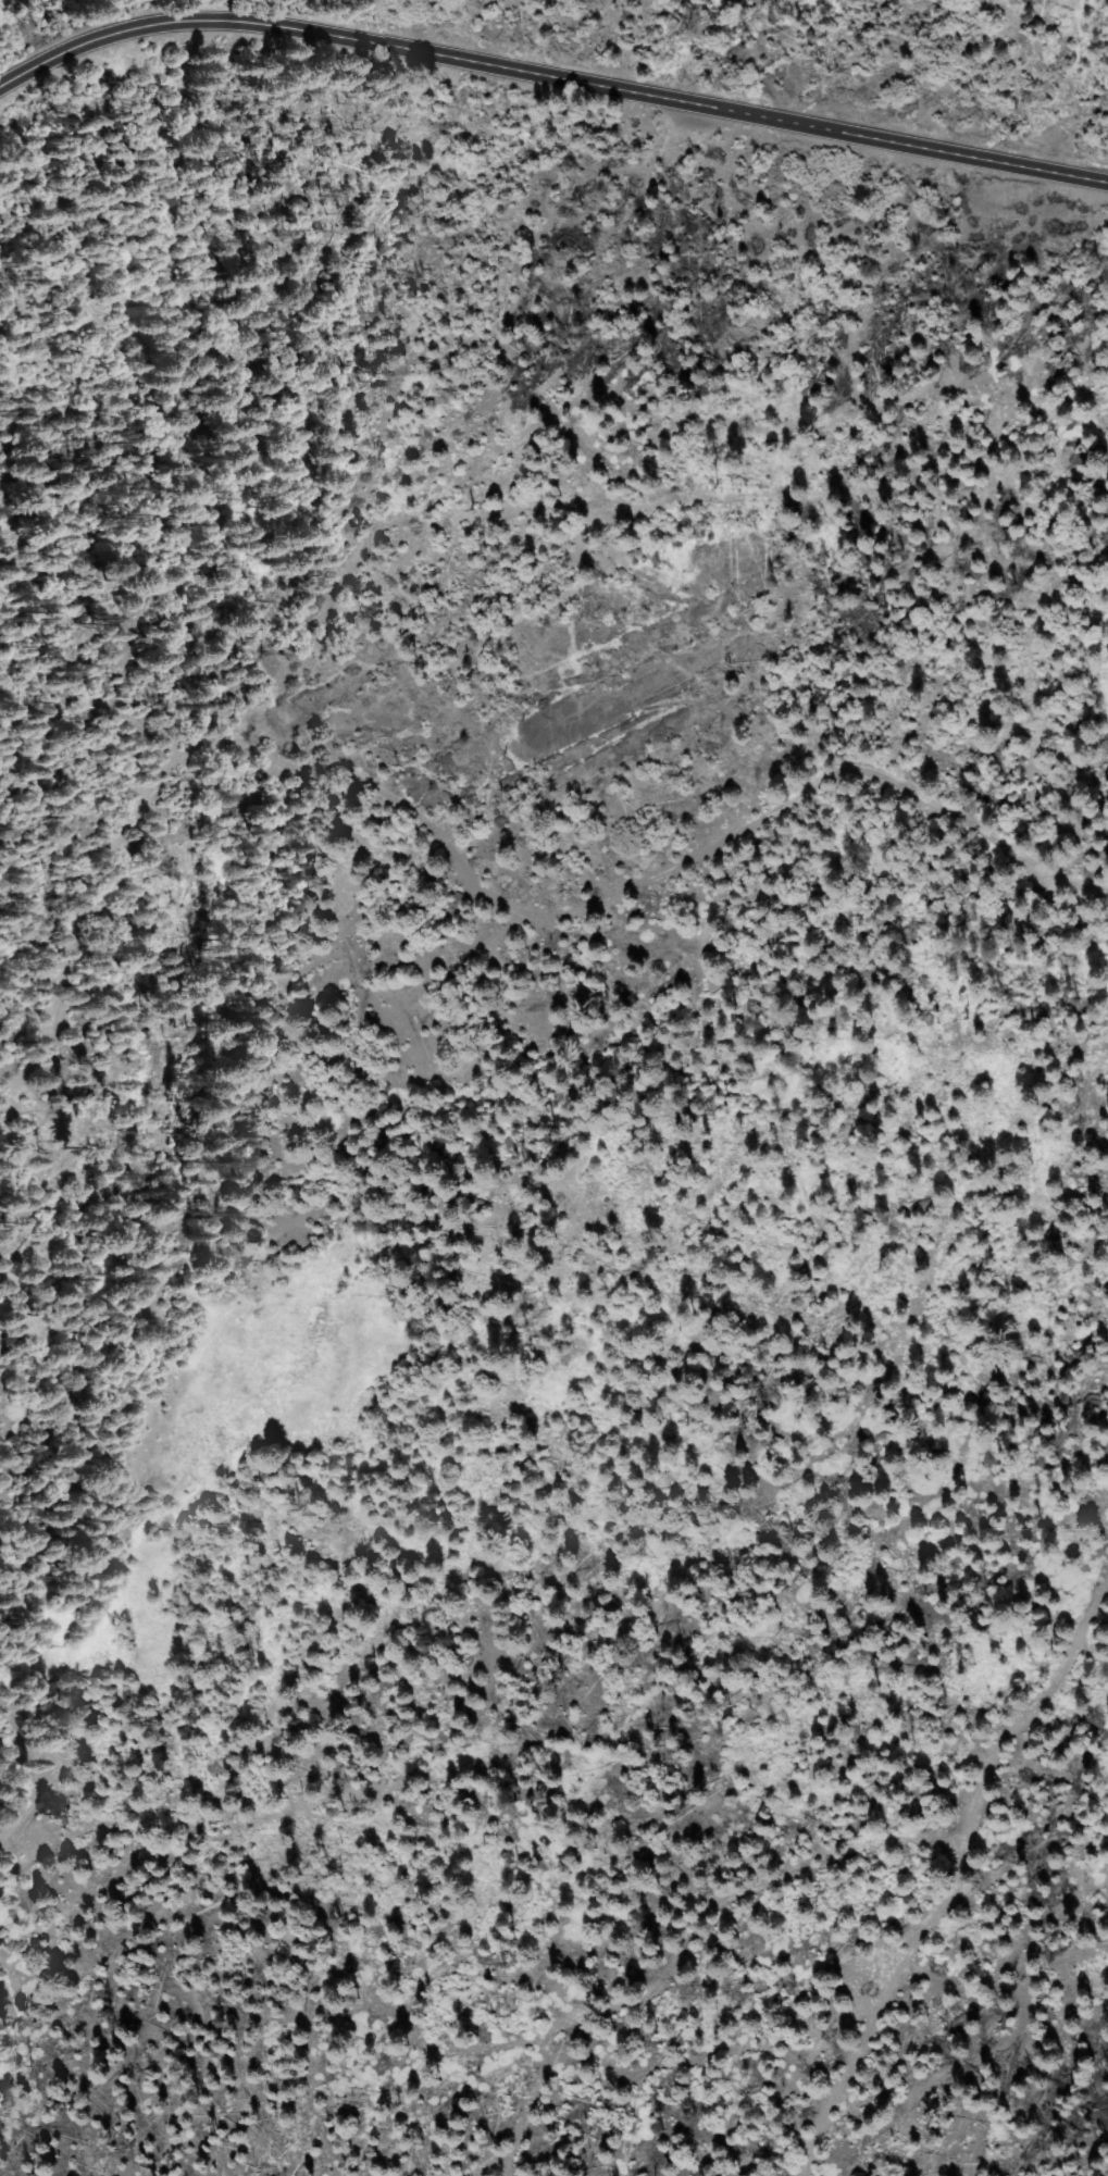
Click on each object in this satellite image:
road: (549, 75)
road: (469, 867)
road: (955, 1880)

